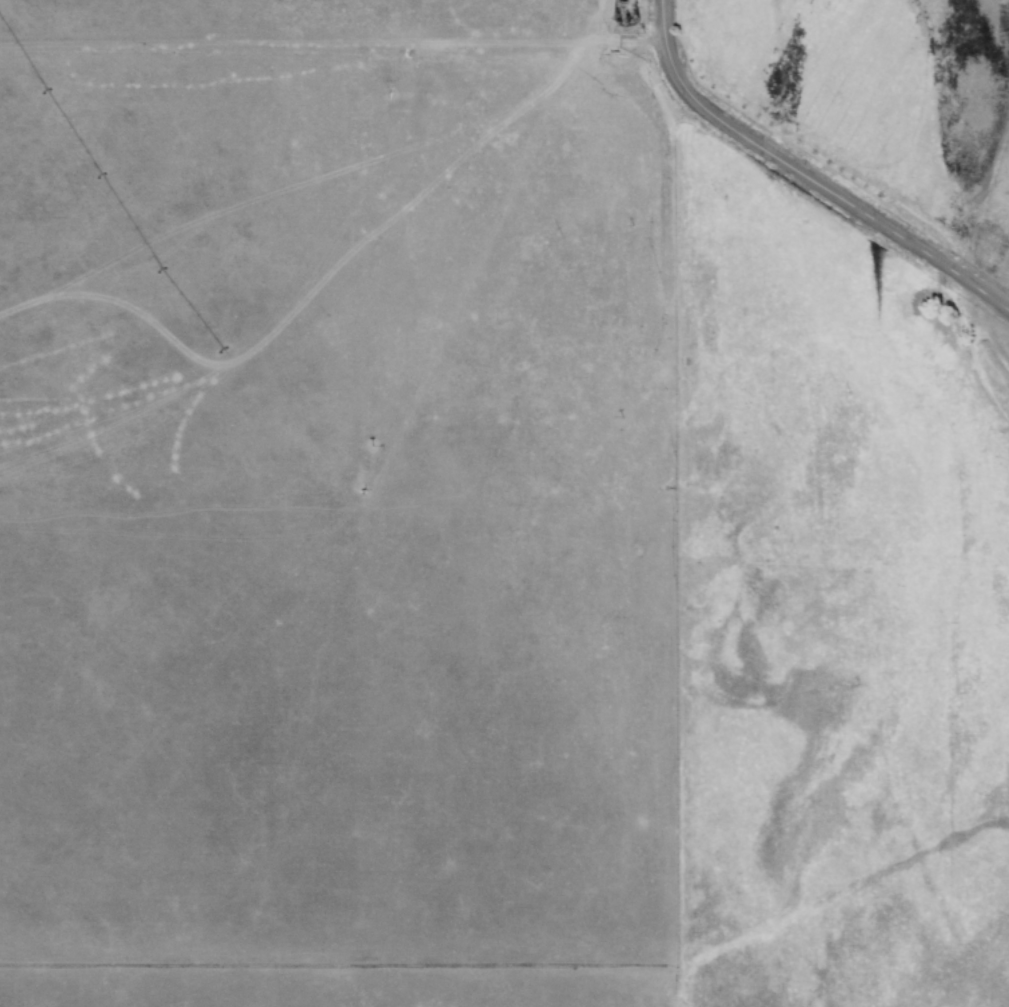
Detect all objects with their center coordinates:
road: (330, 46)
road: (802, 181)

